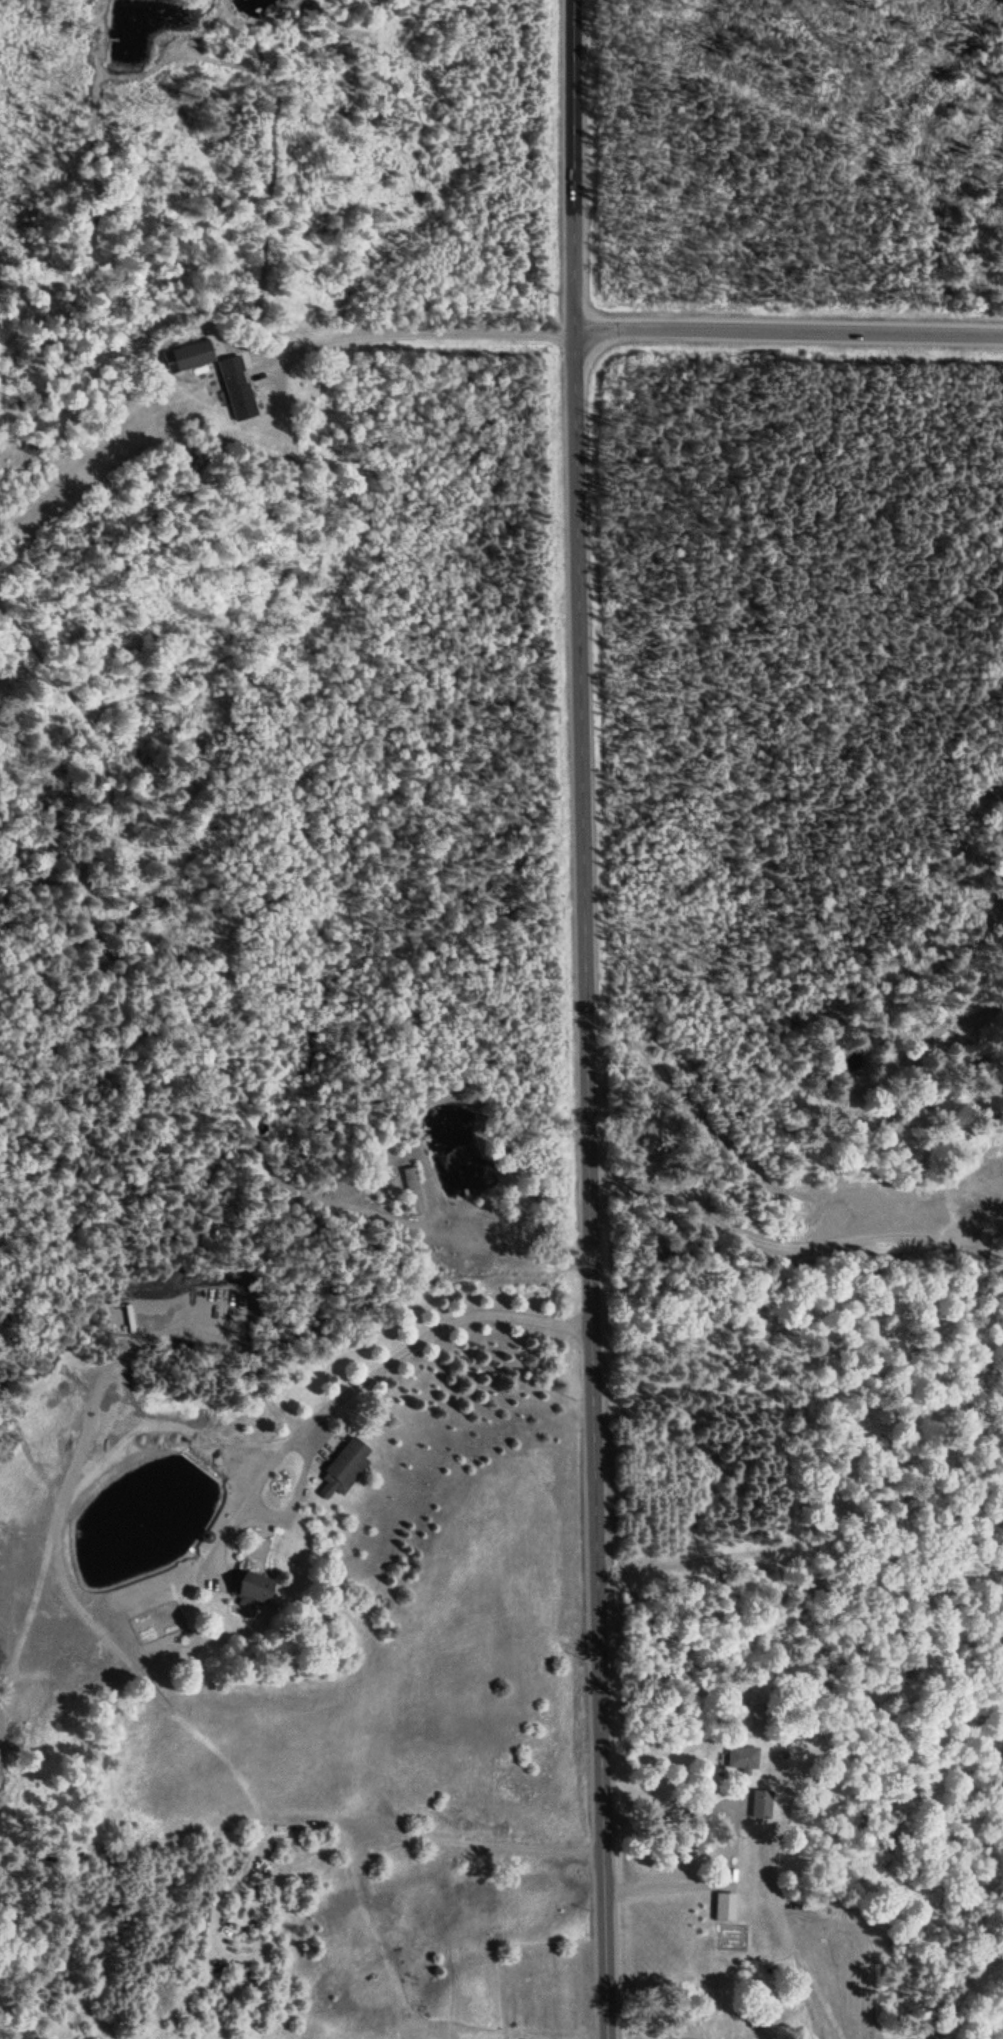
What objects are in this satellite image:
road: (786, 335)
road: (411, 336)
building: (189, 357)
building: (238, 389)
building: (33, 445)
road: (580, 1019)
building: (415, 1193)
road: (352, 1385)
building: (351, 1463)
building: (256, 1587)
building: (741, 1755)
building: (762, 1803)
road: (698, 1887)
building: (726, 1907)

